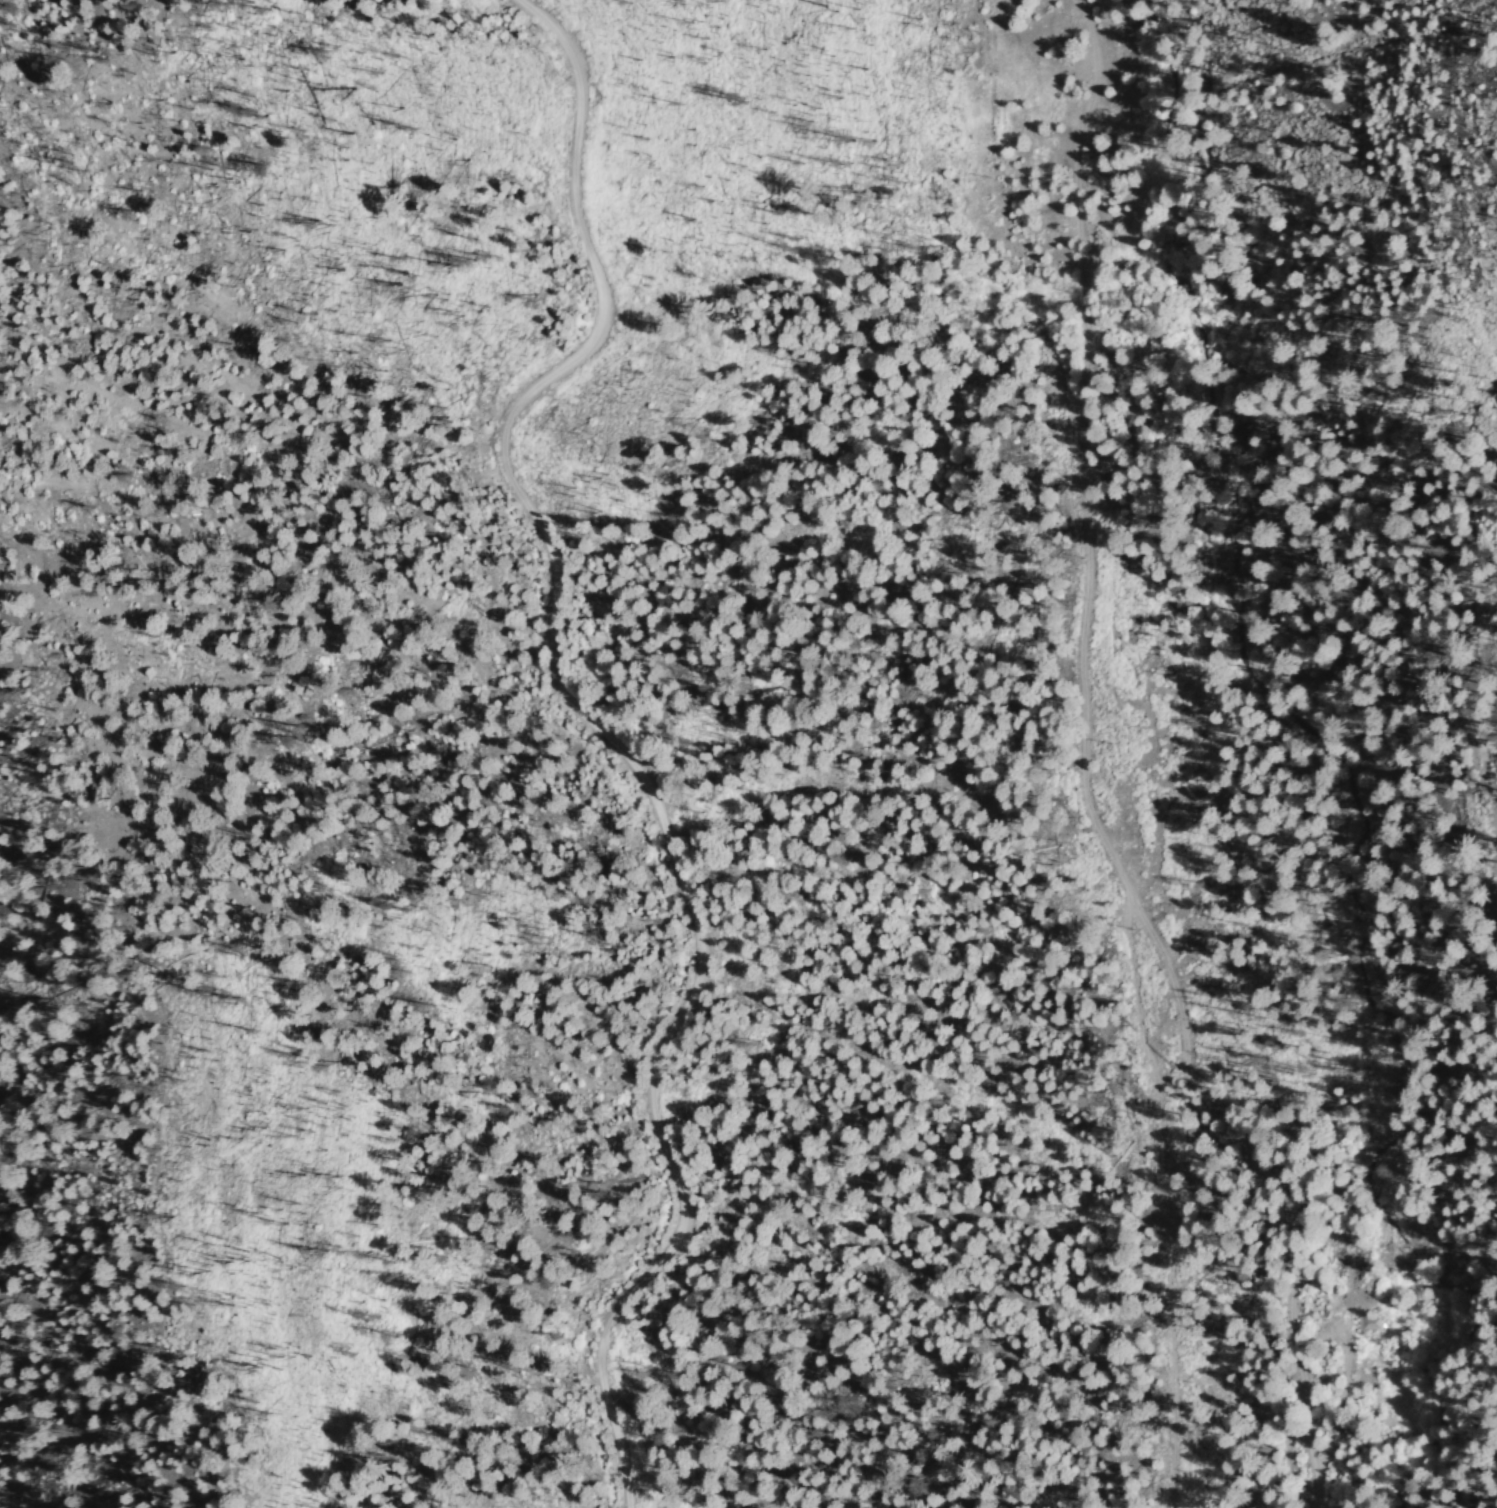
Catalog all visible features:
road: (602, 733)
road: (1099, 808)
building: (1370, 1323)

